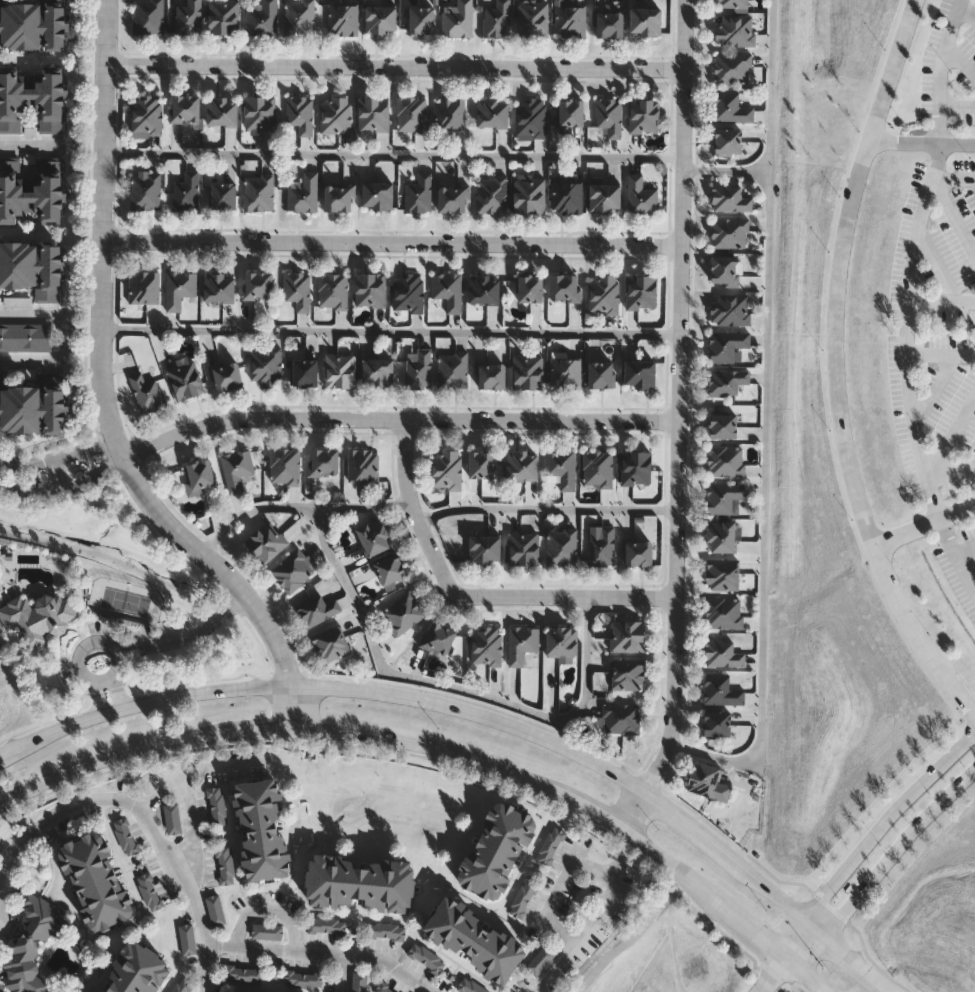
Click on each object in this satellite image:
building: (730, 3)
building: (149, 16)
building: (223, 16)
building: (188, 17)
building: (261, 17)
building: (299, 17)
building: (343, 18)
building: (379, 18)
building: (456, 18)
building: (531, 18)
road: (965, 18)
building: (420, 19)
building: (496, 19)
building: (569, 19)
building: (644, 20)
building: (608, 22)
building: (32, 25)
building: (734, 30)
road: (394, 63)
parking lot: (952, 64)
building: (732, 67)
building: (31, 100)
building: (730, 106)
building: (184, 108)
building: (221, 111)
building: (300, 112)
building: (492, 112)
building: (258, 113)
building: (373, 113)
building: (449, 113)
building: (567, 113)
building: (411, 114)
building: (146, 115)
building: (335, 115)
building: (608, 115)
building: (643, 115)
building: (530, 117)
building: (726, 141)
road: (923, 142)
road: (30, 146)
road: (393, 154)
road: (725, 169)
road: (953, 179)
building: (31, 190)
building: (145, 190)
building: (185, 191)
building: (258, 191)
building: (303, 192)
building: (528, 193)
building: (222, 194)
building: (376, 194)
building: (418, 194)
building: (491, 194)
building: (640, 195)
building: (567, 196)
building: (603, 196)
building: (338, 197)
building: (451, 198)
building: (729, 198)
road: (957, 215)
building: (728, 232)
road: (390, 241)
parking lot: (936, 246)
road: (912, 259)
road: (938, 263)
building: (32, 267)
building: (725, 270)
building: (257, 284)
building: (144, 286)
building: (179, 287)
building: (218, 287)
building: (564, 287)
building: (297, 288)
building: (529, 288)
building: (369, 289)
building: (447, 289)
building: (483, 289)
building: (332, 290)
building: (640, 291)
building: (407, 292)
building: (602, 293)
road: (941, 300)
building: (729, 308)
road: (972, 314)
road: (932, 326)
road: (390, 330)
road: (954, 330)
building: (26, 334)
road: (69, 334)
road: (972, 342)
building: (727, 344)
road: (940, 355)
building: (266, 364)
road: (841, 366)
building: (417, 367)
building: (452, 369)
building: (340, 370)
building: (527, 370)
building: (304, 371)
building: (376, 371)
building: (565, 372)
building: (638, 372)
building: (600, 373)
building: (24, 374)
building: (225, 374)
building: (490, 374)
building: (184, 378)
building: (726, 380)
road: (934, 391)
building: (146, 392)
road: (99, 395)
building: (34, 405)
parking lot: (934, 411)
road: (395, 417)
road: (676, 420)
road: (766, 422)
building: (721, 424)
road: (951, 437)
road: (59, 455)
road: (112, 457)
building: (725, 459)
building: (323, 461)
building: (362, 464)
building: (481, 464)
building: (521, 464)
building: (284, 465)
building: (560, 466)
building: (635, 467)
building: (237, 468)
building: (597, 468)
building: (445, 469)
road: (951, 472)
road: (8, 473)
building: (198, 475)
road: (1, 477)
road: (75, 482)
road: (17, 488)
building: (723, 495)
road: (295, 508)
road: (544, 509)
road: (926, 524)
building: (372, 536)
building: (721, 536)
building: (266, 541)
building: (560, 546)
building: (601, 546)
building: (523, 547)
building: (483, 548)
road: (965, 551)
building: (637, 552)
road: (968, 555)
road: (956, 556)
building: (293, 569)
building: (389, 569)
parking lot: (960, 572)
building: (721, 574)
road: (471, 595)
building: (317, 609)
building: (402, 612)
building: (723, 612)
building: (39, 616)
building: (626, 635)
building: (437, 638)
building: (560, 640)
building: (521, 642)
building: (329, 643)
road: (151, 645)
building: (485, 646)
building: (721, 653)
building: (627, 674)
road: (452, 689)
building: (720, 690)
road: (485, 711)
building: (620, 719)
building: (715, 723)
road: (417, 740)
road: (426, 758)
road: (195, 771)
building: (706, 780)
building: (219, 808)
building: (174, 821)
road: (882, 821)
road: (149, 823)
building: (262, 830)
road: (186, 831)
building: (128, 838)
road: (622, 844)
road: (16, 848)
road: (896, 849)
building: (496, 851)
building: (227, 867)
building: (96, 882)
building: (360, 884)
road: (557, 888)
building: (152, 893)
building: (524, 899)
road: (828, 909)
building: (218, 912)
building: (329, 927)
road: (587, 930)
building: (388, 932)
building: (269, 933)
road: (796, 937)
building: (474, 940)
building: (189, 941)
road: (628, 942)
road: (805, 944)
building: (32, 945)
road: (298, 952)
building: (428, 959)
building: (542, 962)
road: (870, 962)
building: (136, 971)
road: (770, 973)
road: (807, 973)
building: (246, 975)
building: (306, 980)
building: (361, 983)

